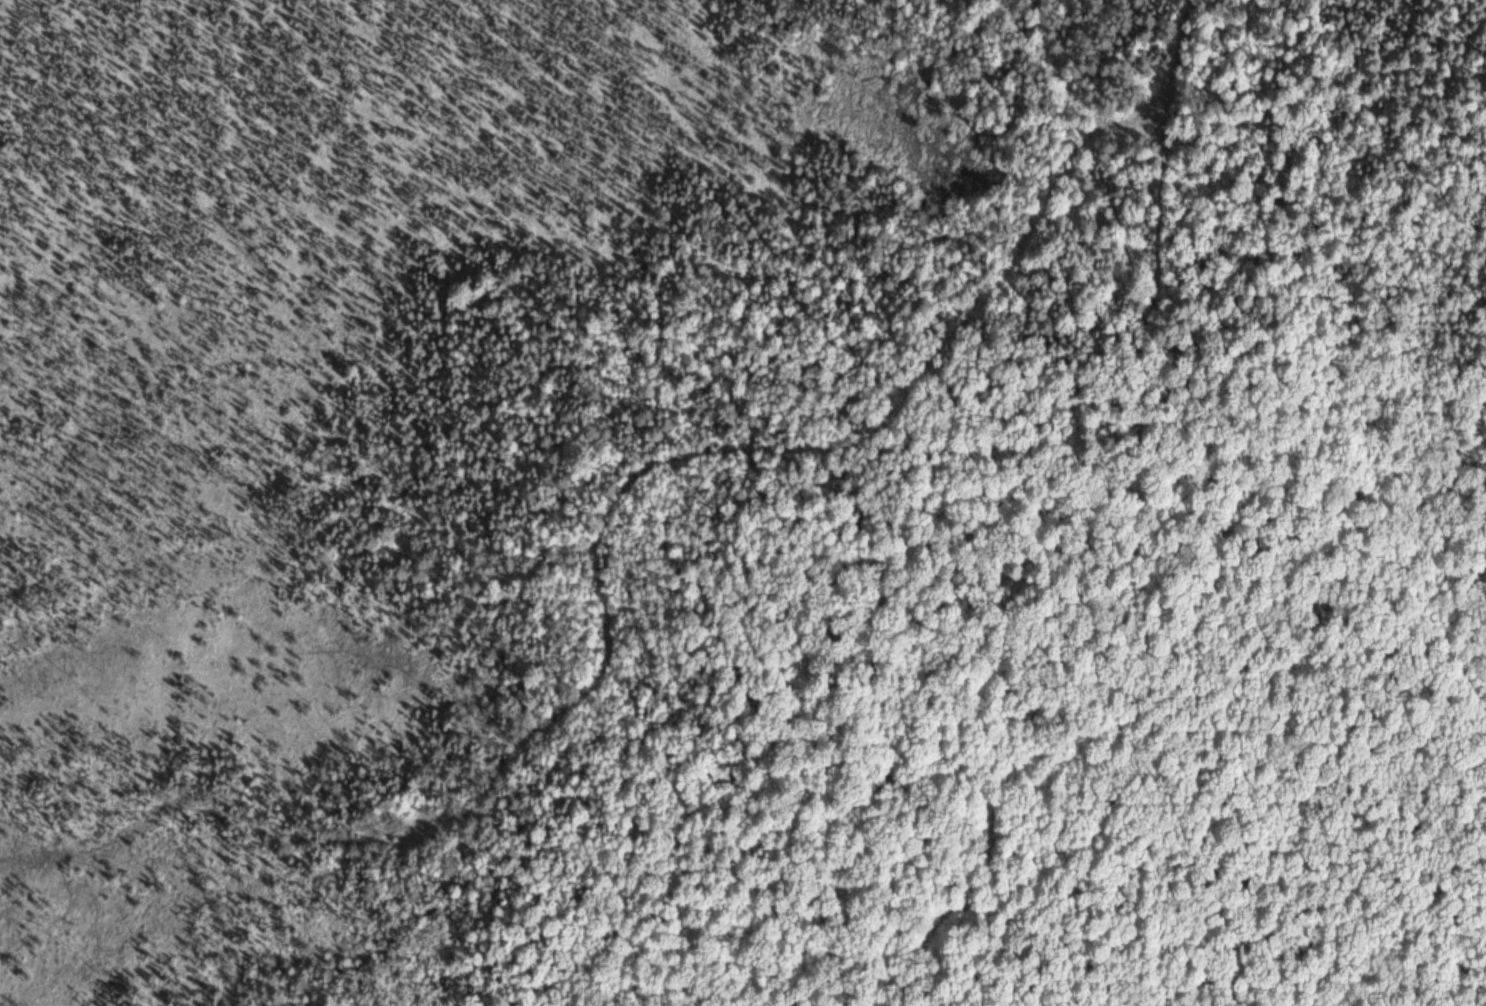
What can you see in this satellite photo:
road: (1303, 324)
road: (1069, 648)

